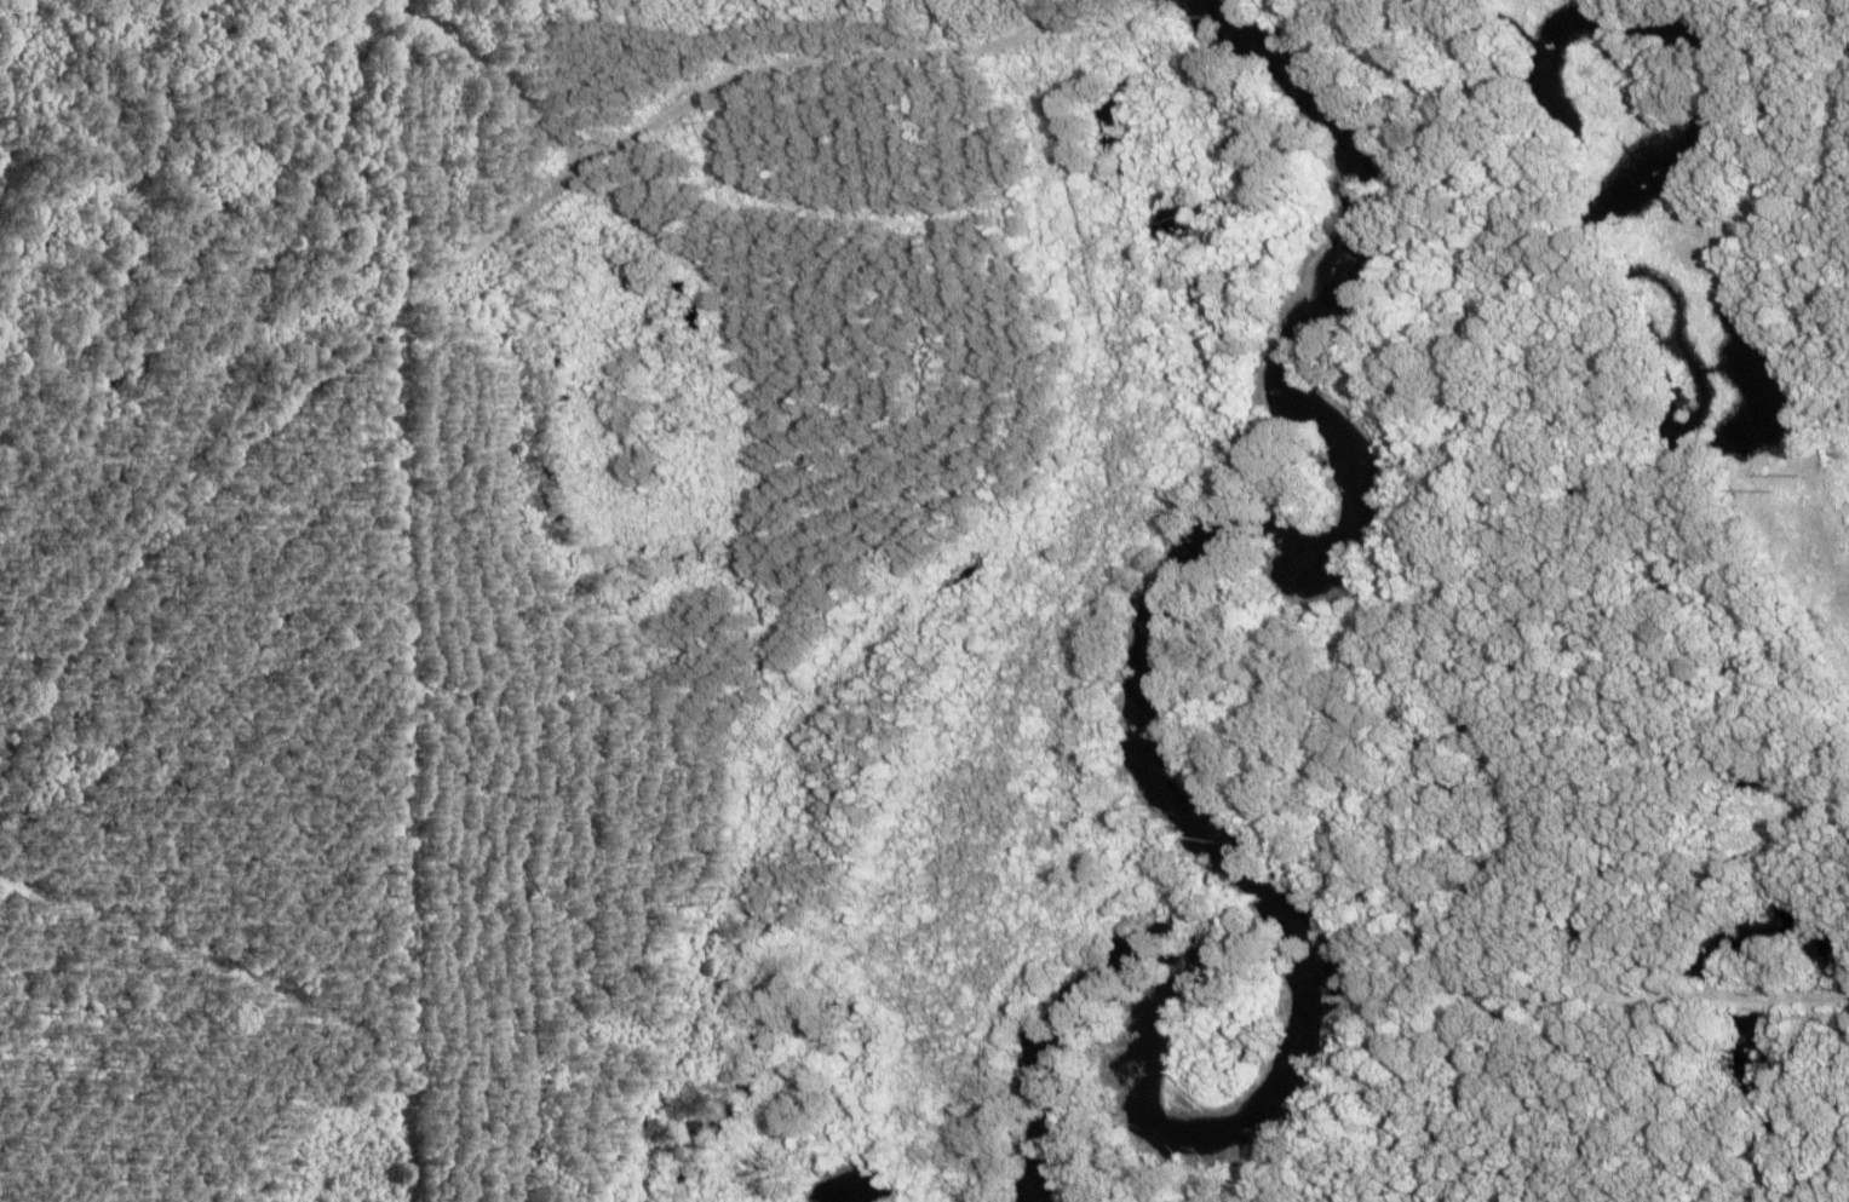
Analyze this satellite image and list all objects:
road: (625, 143)
power tower: (1790, 484)
river: (1130, 652)

